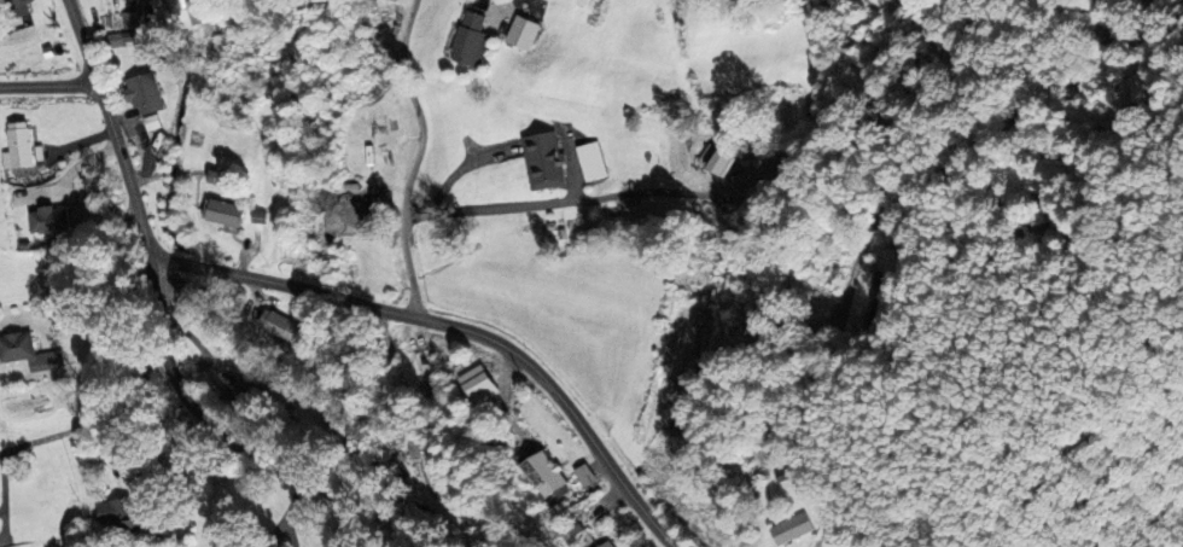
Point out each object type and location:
road: (518, 1)
building: (12, 8)
building: (188, 13)
building: (520, 34)
building: (120, 39)
building: (468, 41)
road: (48, 87)
building: (142, 93)
road: (954, 103)
building: (150, 121)
building: (16, 145)
road: (415, 156)
building: (716, 159)
building: (542, 161)
building: (590, 161)
building: (215, 178)
road: (564, 200)
building: (221, 211)
building: (48, 219)
building: (892, 263)
road: (157, 315)
building: (278, 325)
road: (459, 326)
road: (185, 332)
building: (28, 351)
road: (804, 371)
building: (479, 384)
building: (239, 389)
road: (110, 418)
building: (584, 475)
building: (547, 476)
building: (439, 478)
building: (117, 514)
road: (289, 514)
building: (789, 528)
building: (606, 545)

